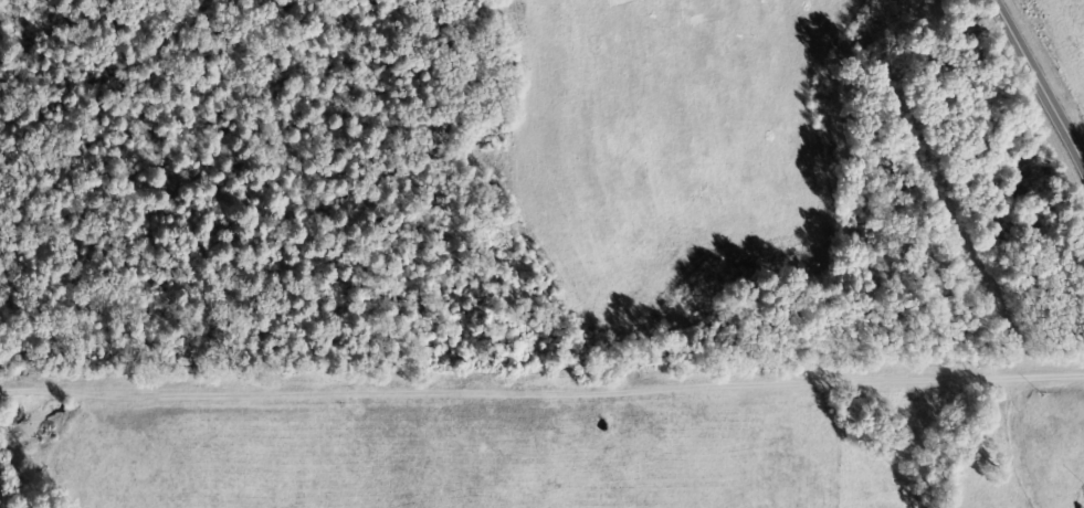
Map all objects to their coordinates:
road: (1038, 80)

